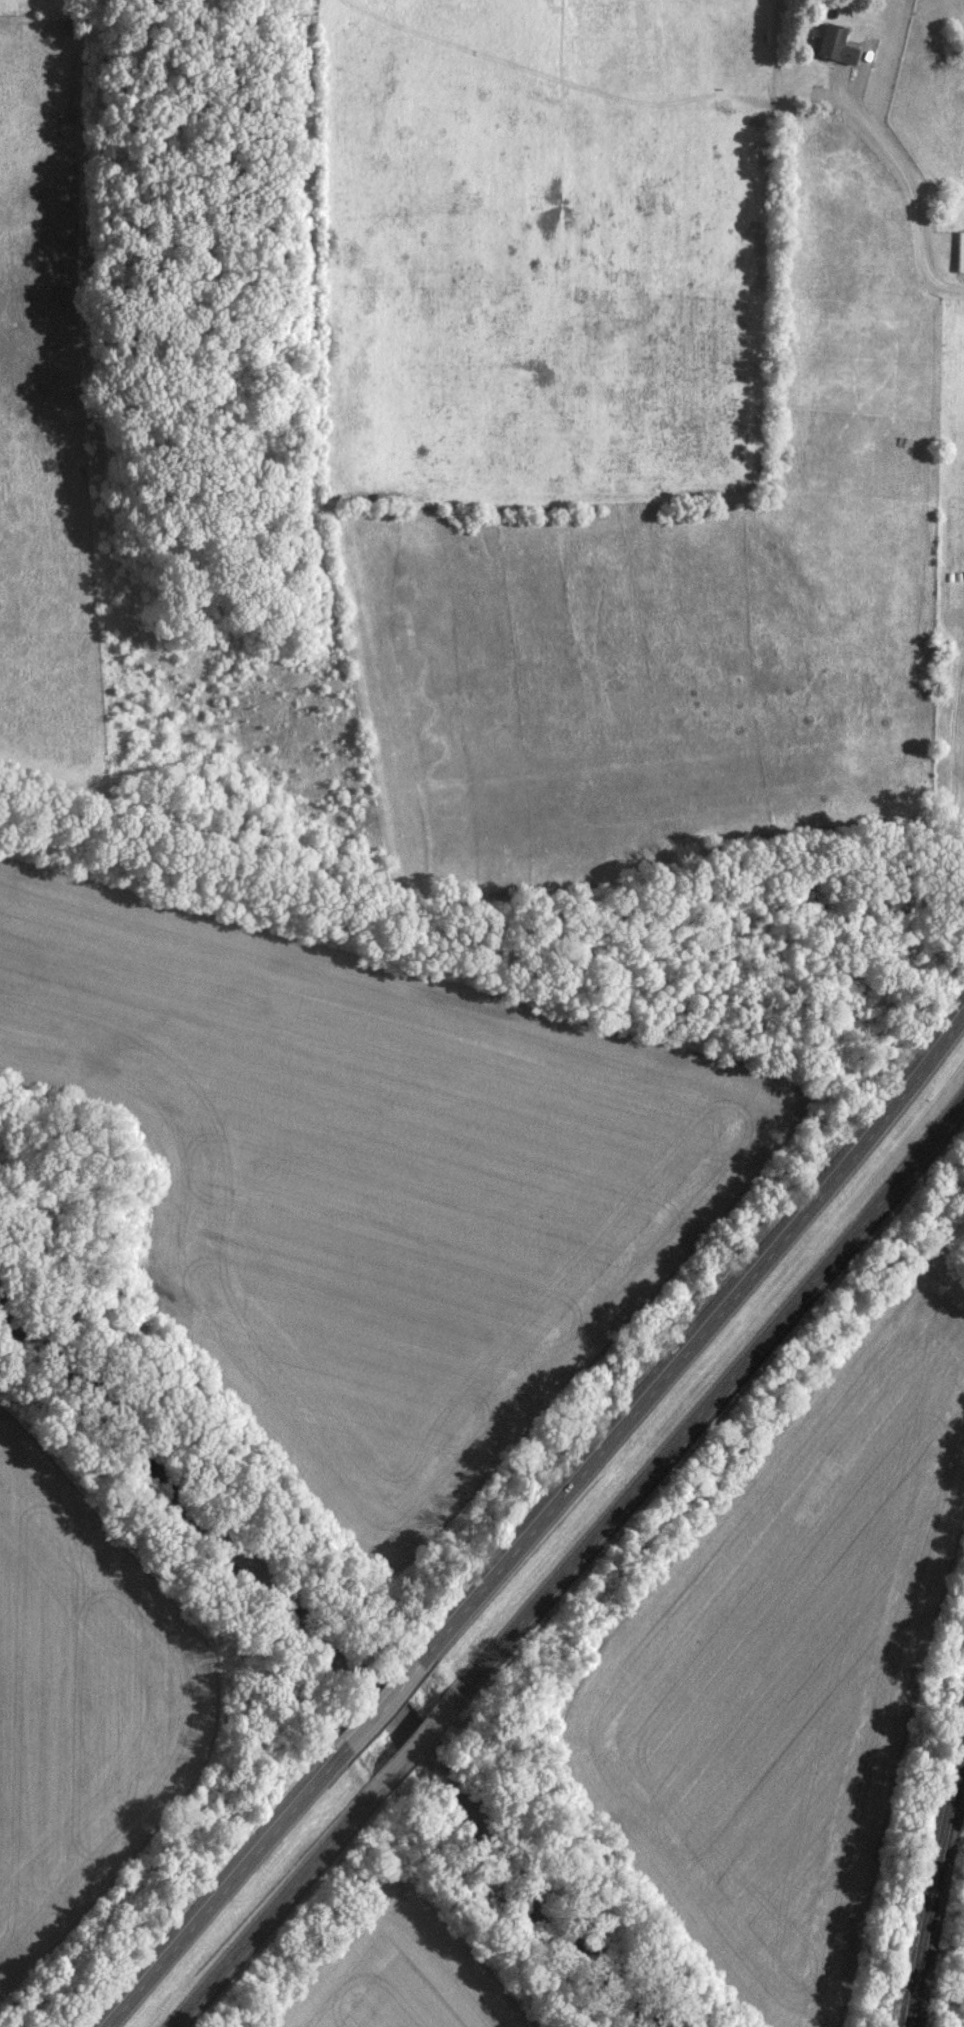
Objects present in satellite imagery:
building: (831, 45)
road: (917, 186)
building: (959, 252)
road: (542, 1527)
road: (572, 1570)
railway: (930, 1871)
railway: (936, 1897)

